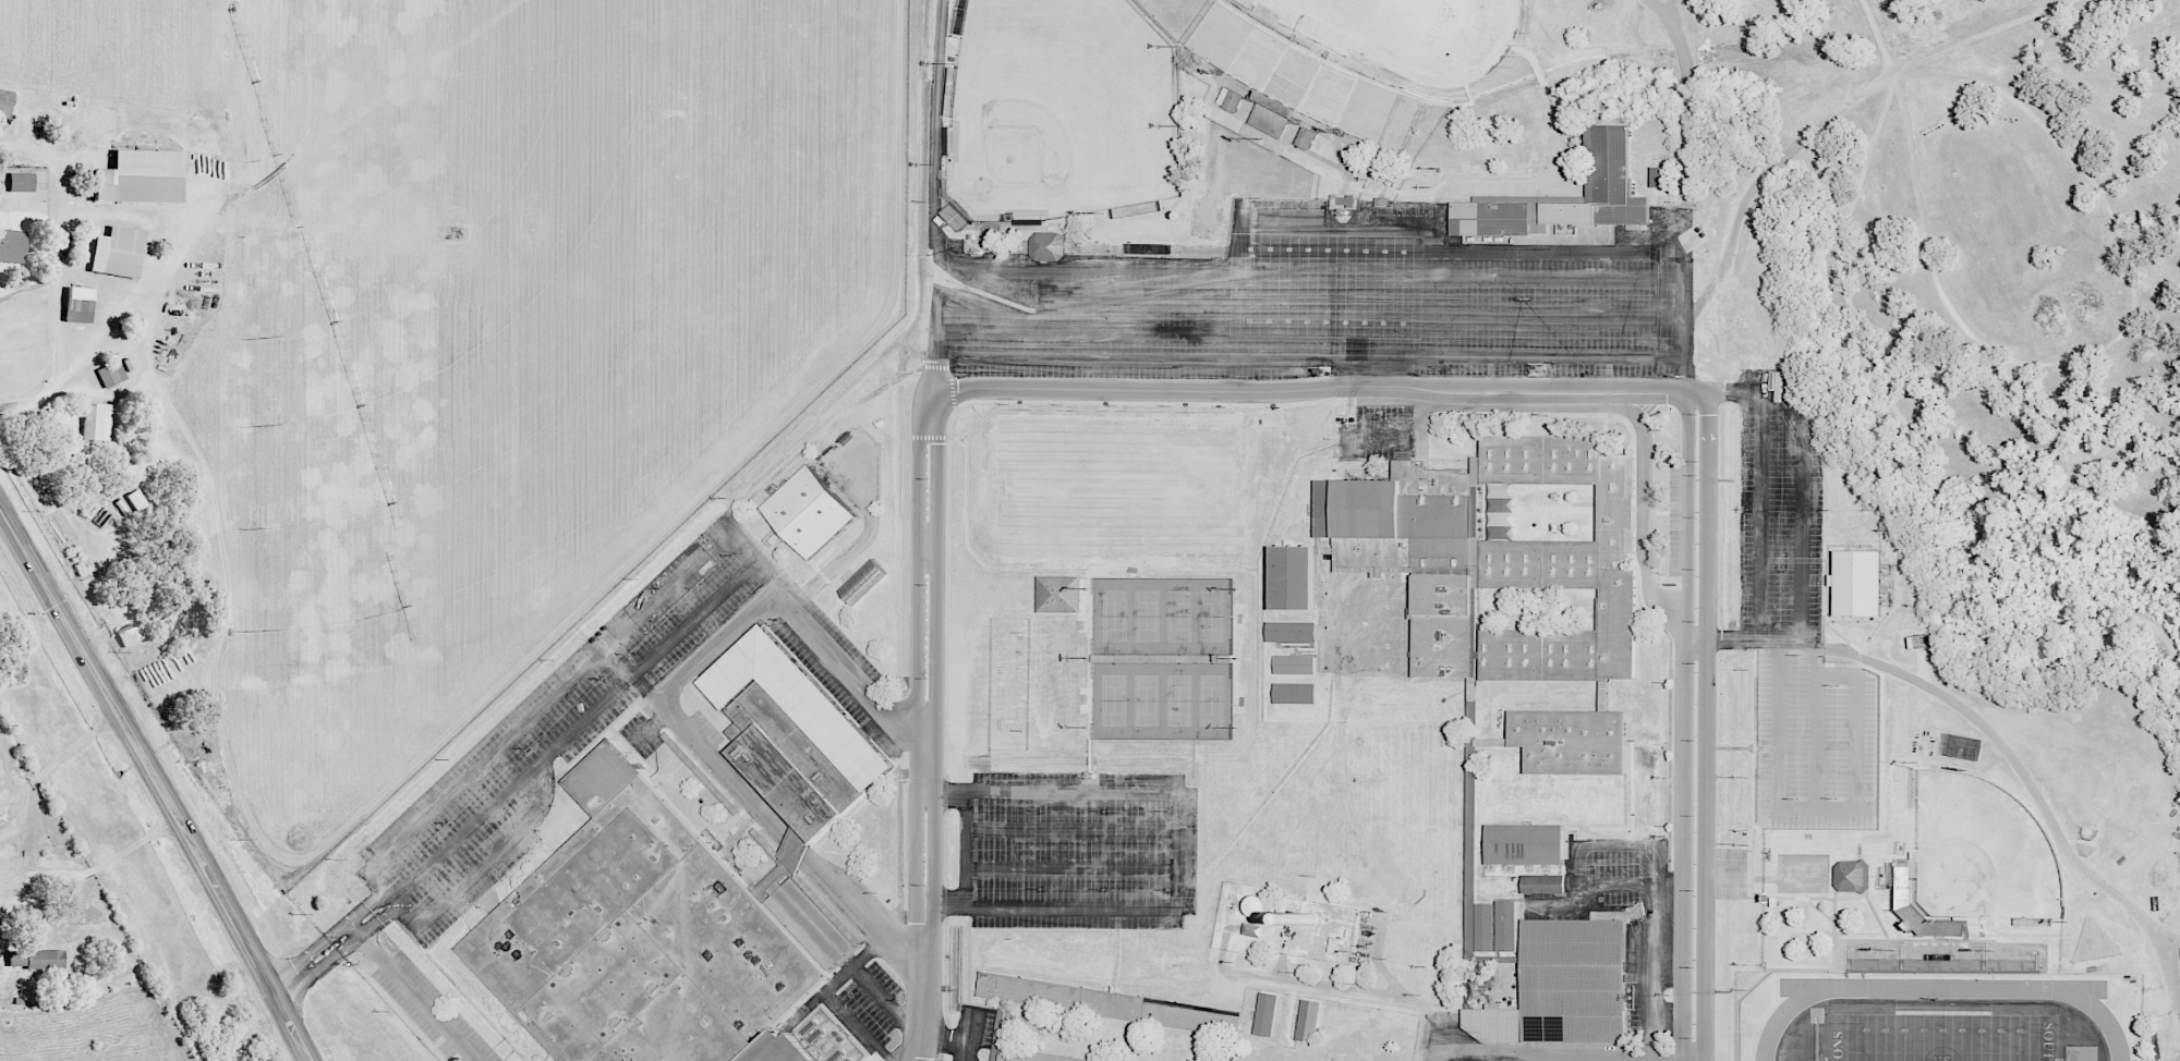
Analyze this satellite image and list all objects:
road: (1671, 11)
park: (1401, 20)
track: (1414, 33)
track: (1347, 42)
building: (1232, 99)
park: (1069, 102)
park: (1062, 109)
road: (1686, 110)
building: (1307, 138)
park: (1025, 156)
road: (1767, 170)
building: (1662, 175)
building: (143, 176)
building: (23, 181)
building: (1565, 195)
building: (1344, 200)
road: (21, 204)
road: (147, 214)
road: (1299, 222)
building: (13, 245)
building: (1049, 245)
road: (1523, 251)
building: (120, 252)
road: (1189, 256)
road: (945, 260)
road: (1524, 278)
road: (1196, 295)
building: (80, 304)
parking lot: (1334, 306)
road: (1525, 314)
crop: (482, 318)
road: (1152, 332)
road: (1524, 354)
road: (1151, 358)
road: (1303, 388)
road: (39, 401)
road: (174, 410)
road: (1418, 417)
building: (97, 422)
road: (1801, 474)
park: (1116, 489)
road: (1645, 496)
building: (138, 500)
building: (809, 511)
road: (1760, 515)
building: (1400, 516)
road: (928, 540)
road: (859, 541)
road: (738, 549)
building: (1563, 562)
building: (1297, 576)
building: (863, 581)
building: (1860, 582)
road: (664, 589)
building: (1061, 594)
parking lot: (682, 602)
park: (1178, 614)
road: (60, 615)
park: (1113, 615)
park: (1146, 615)
park: (1211, 615)
road: (692, 620)
building: (1443, 624)
parking lot: (1797, 629)
building: (1292, 631)
building: (131, 635)
road: (1700, 636)
road: (1759, 638)
road: (714, 645)
road: (617, 660)
road: (836, 662)
building: (1296, 663)
road: (916, 678)
road: (935, 678)
building: (1296, 693)
park: (1113, 699)
park: (1146, 699)
park: (1177, 699)
park: (1211, 699)
road: (1778, 722)
road: (1683, 723)
road: (651, 724)
road: (1705, 724)
building: (796, 732)
building: (1573, 741)
road: (1818, 741)
road: (71, 748)
road: (1856, 751)
road: (9, 758)
road: (483, 761)
road: (720, 768)
road: (2030, 783)
road: (13, 792)
parking lot: (487, 800)
road: (24, 817)
road: (528, 819)
road: (1071, 828)
road: (463, 829)
building: (1526, 843)
road: (965, 847)
parking lot: (1077, 849)
road: (1177, 849)
park: (1981, 851)
building: (789, 859)
road: (1070, 868)
road: (68, 869)
road: (1722, 871)
parking lot: (1730, 874)
building: (1854, 875)
building: (1543, 883)
road: (1628, 886)
road: (214, 890)
building: (1908, 900)
building: (1260, 906)
road: (864, 916)
building: (1310, 918)
storage tank: (1310, 918)
building: (1506, 925)
building: (1486, 926)
building: (1253, 929)
road: (326, 938)
building: (649, 939)
building: (1335, 944)
road: (338, 954)
building: (19, 958)
building: (47, 960)
building: (1564, 986)
building: (1012, 988)
road: (828, 996)
road: (1392, 998)
road: (417, 999)
road: (921, 1000)
road: (884, 1001)
parking lot: (431, 1011)
building: (1267, 1014)
building: (1309, 1020)
track: (1777, 1022)
road: (971, 1032)
building: (826, 1037)
park: (1940, 1037)
road: (947, 1039)
road: (960, 1056)
building: (1034, 1056)
road: (1474, 1058)
road: (1524, 1059)
road: (1516, 1060)
road: (1566, 1060)

